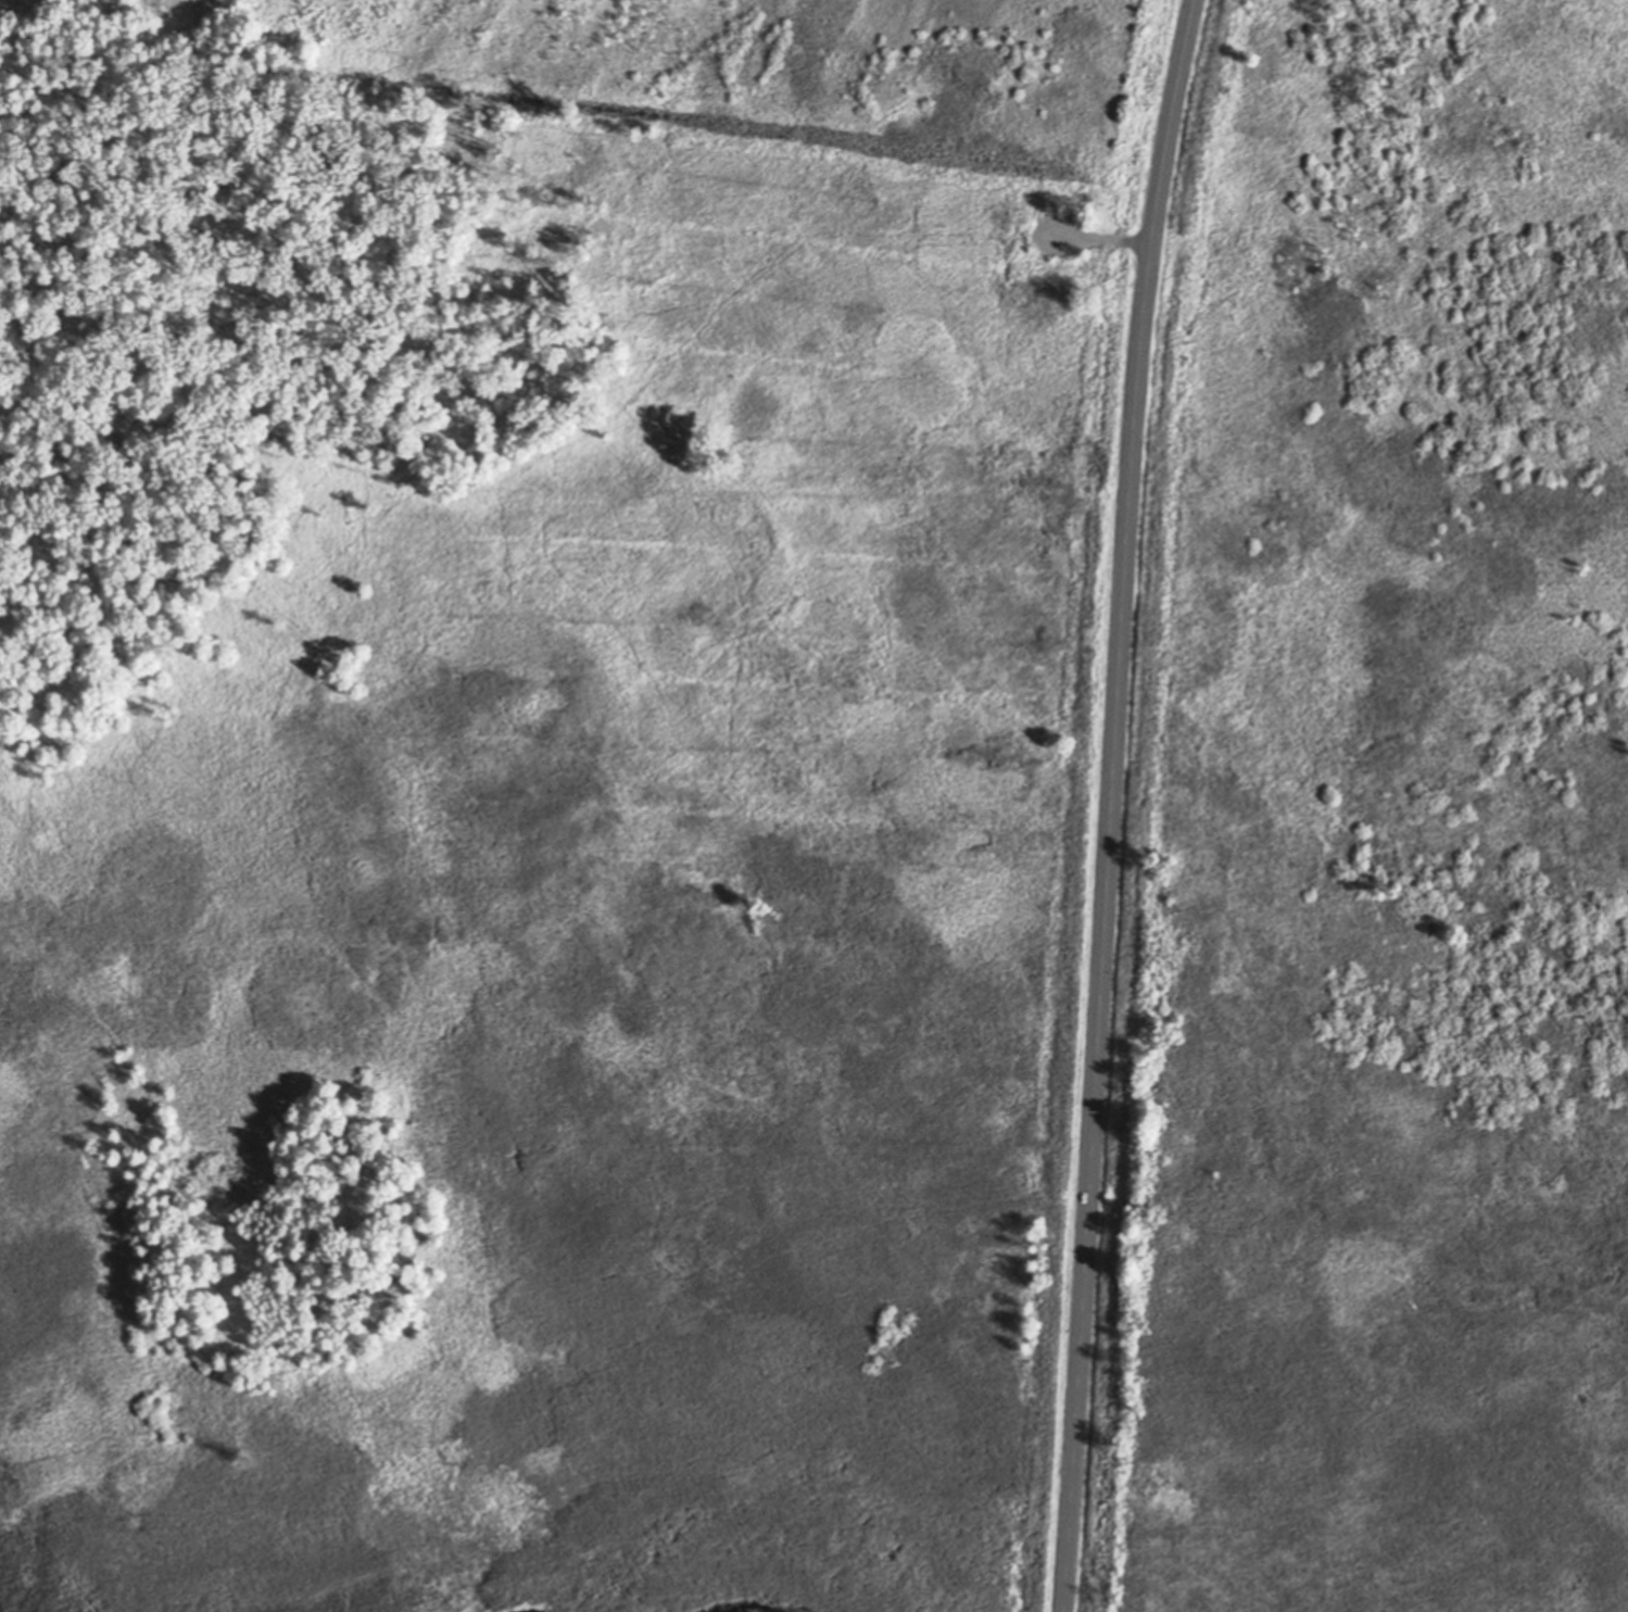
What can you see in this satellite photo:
parking lot: (1060, 236)
road: (1096, 239)
road: (1111, 804)
river: (754, 1608)

